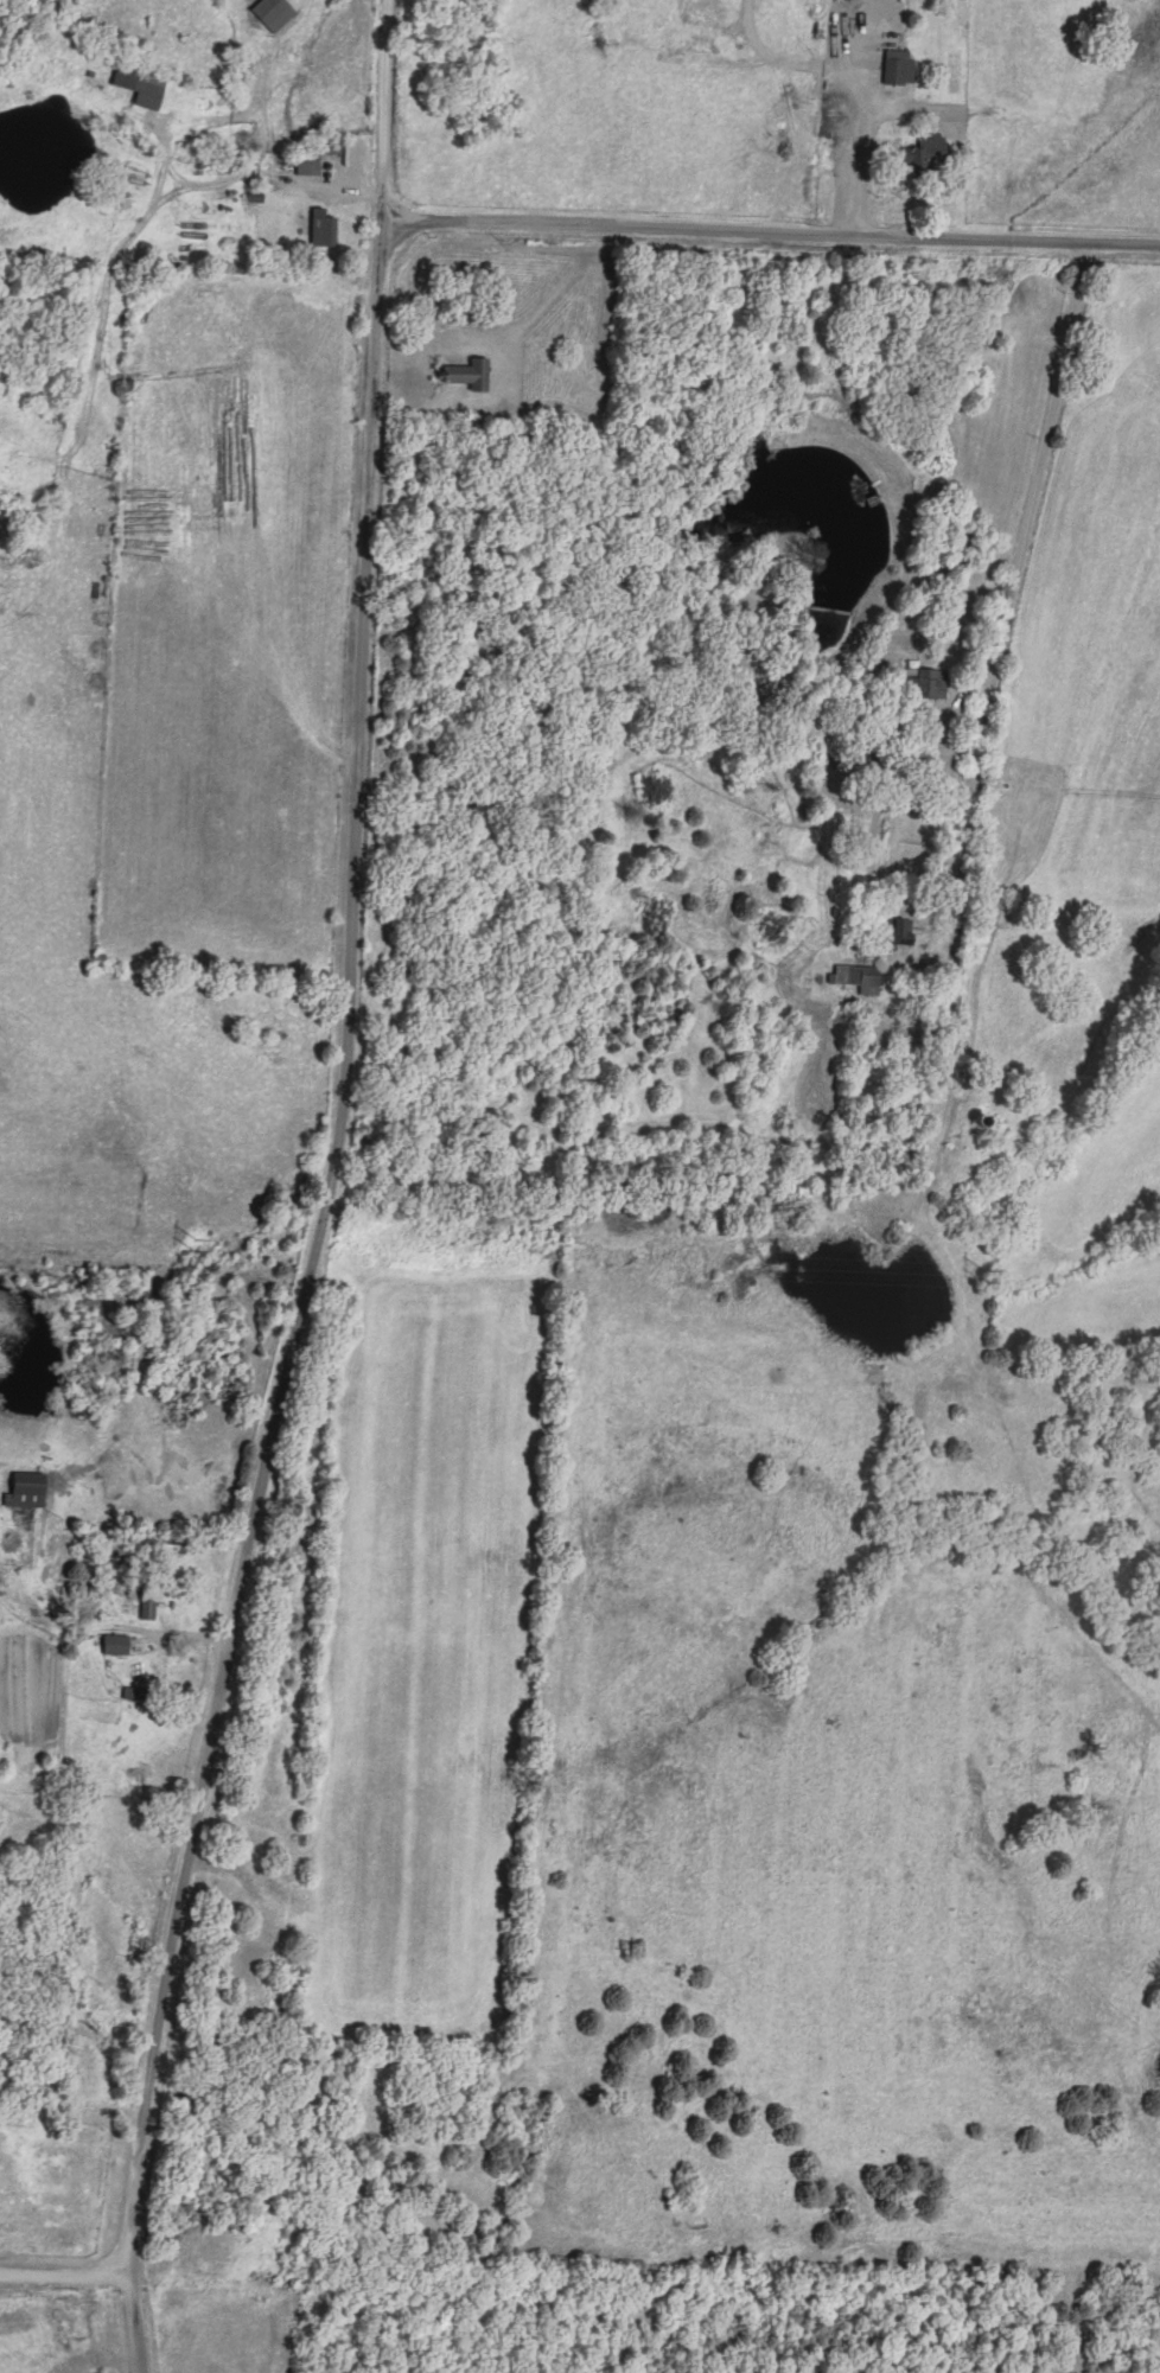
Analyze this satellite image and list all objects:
building: (274, 11)
building: (900, 62)
building: (142, 79)
building: (925, 149)
building: (310, 160)
road: (256, 185)
building: (325, 223)
road: (771, 232)
building: (472, 370)
building: (930, 680)
road: (976, 782)
building: (898, 929)
building: (859, 974)
road: (333, 1195)
power tower: (208, 1243)
power tower: (993, 1272)
building: (27, 1486)
building: (151, 1597)
building: (116, 1640)
road: (66, 2279)

